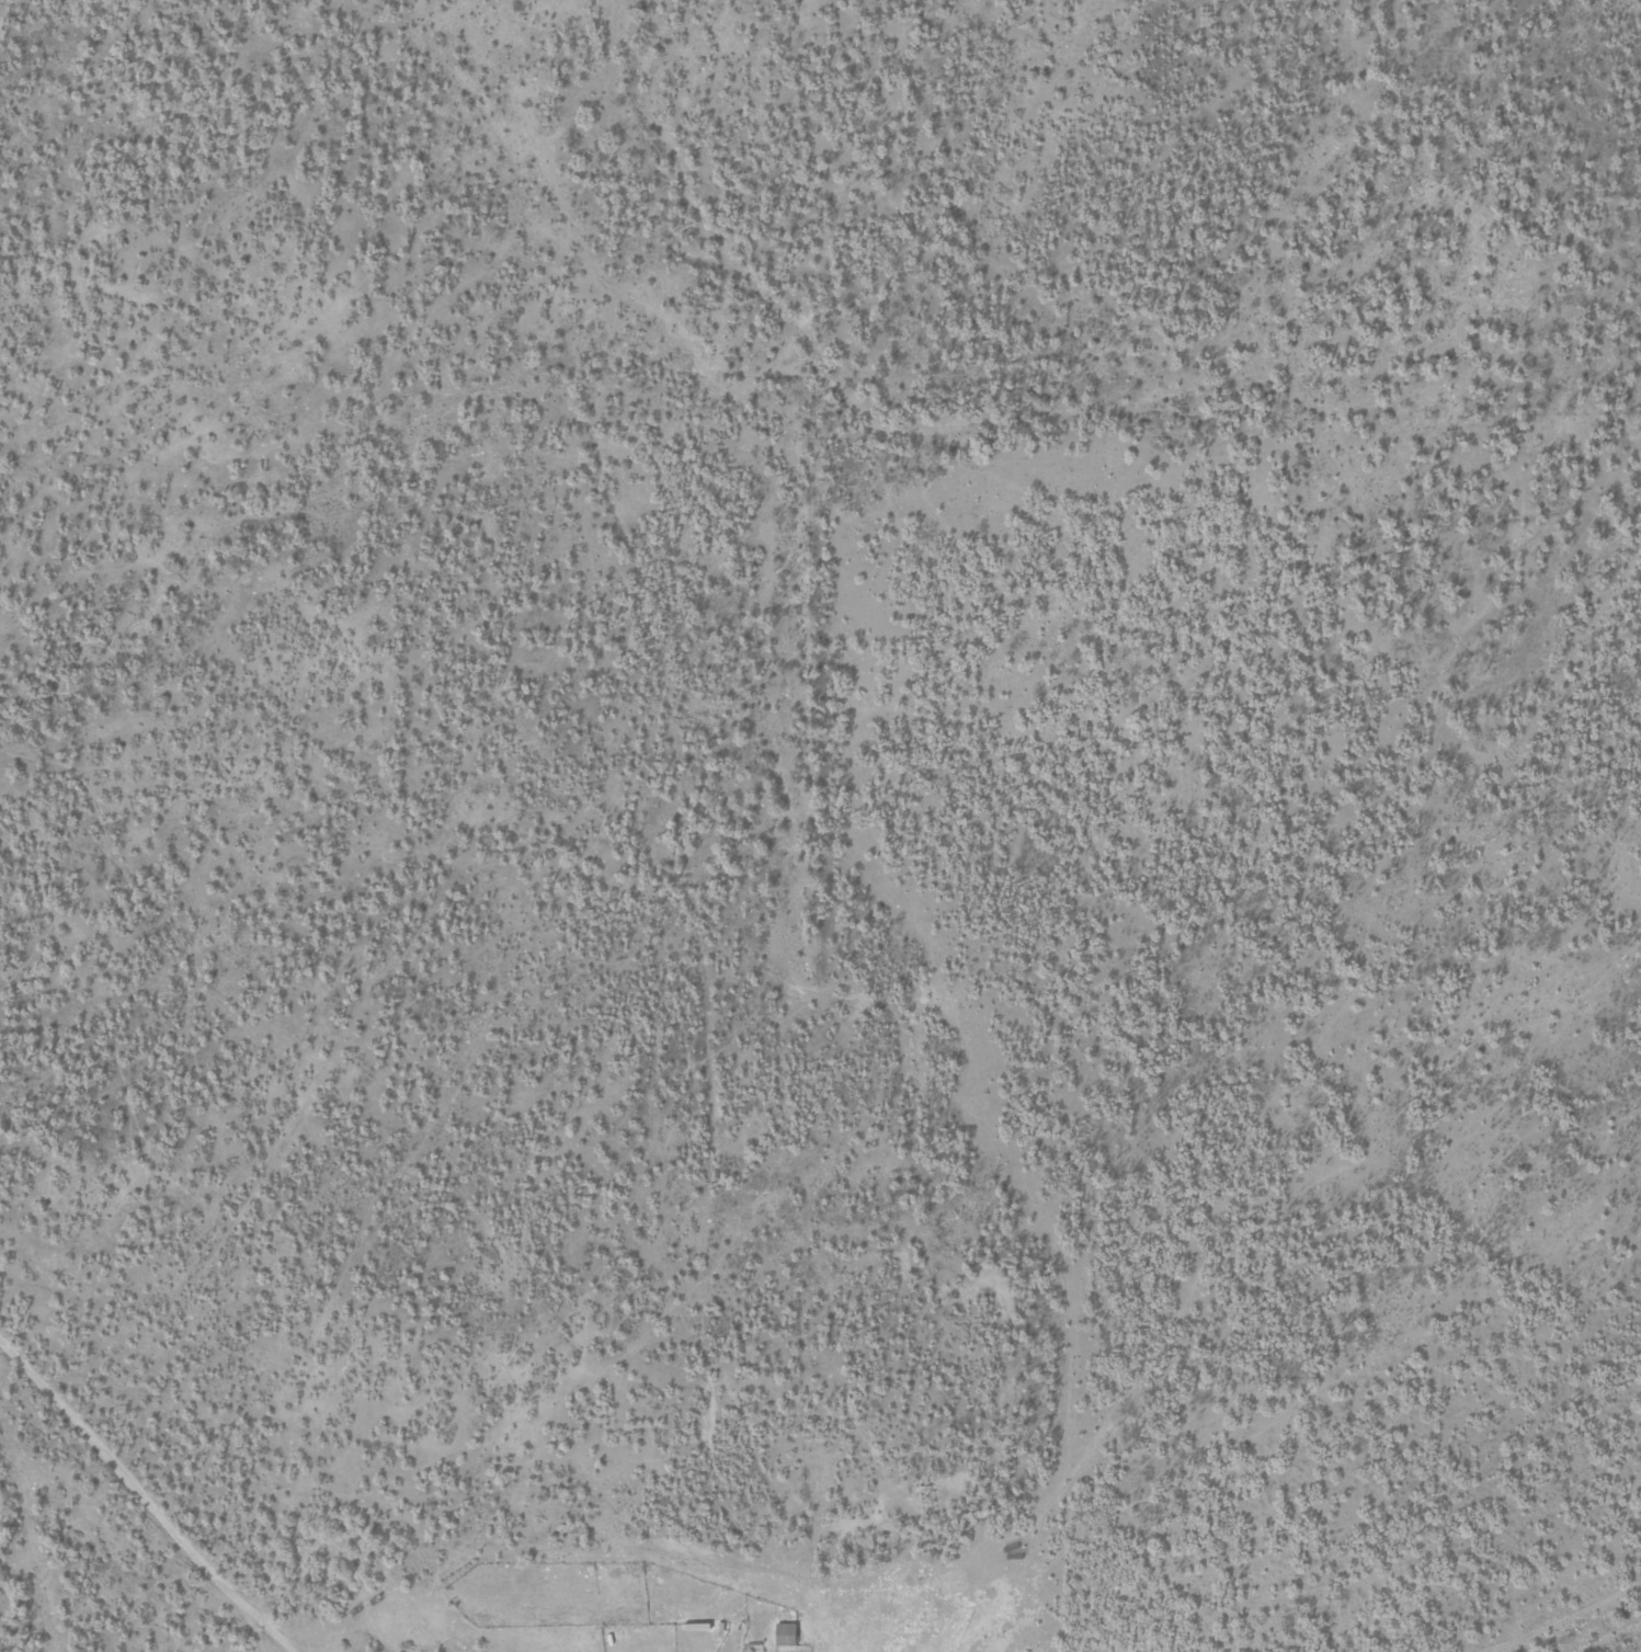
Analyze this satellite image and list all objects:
road: (136, 1506)

